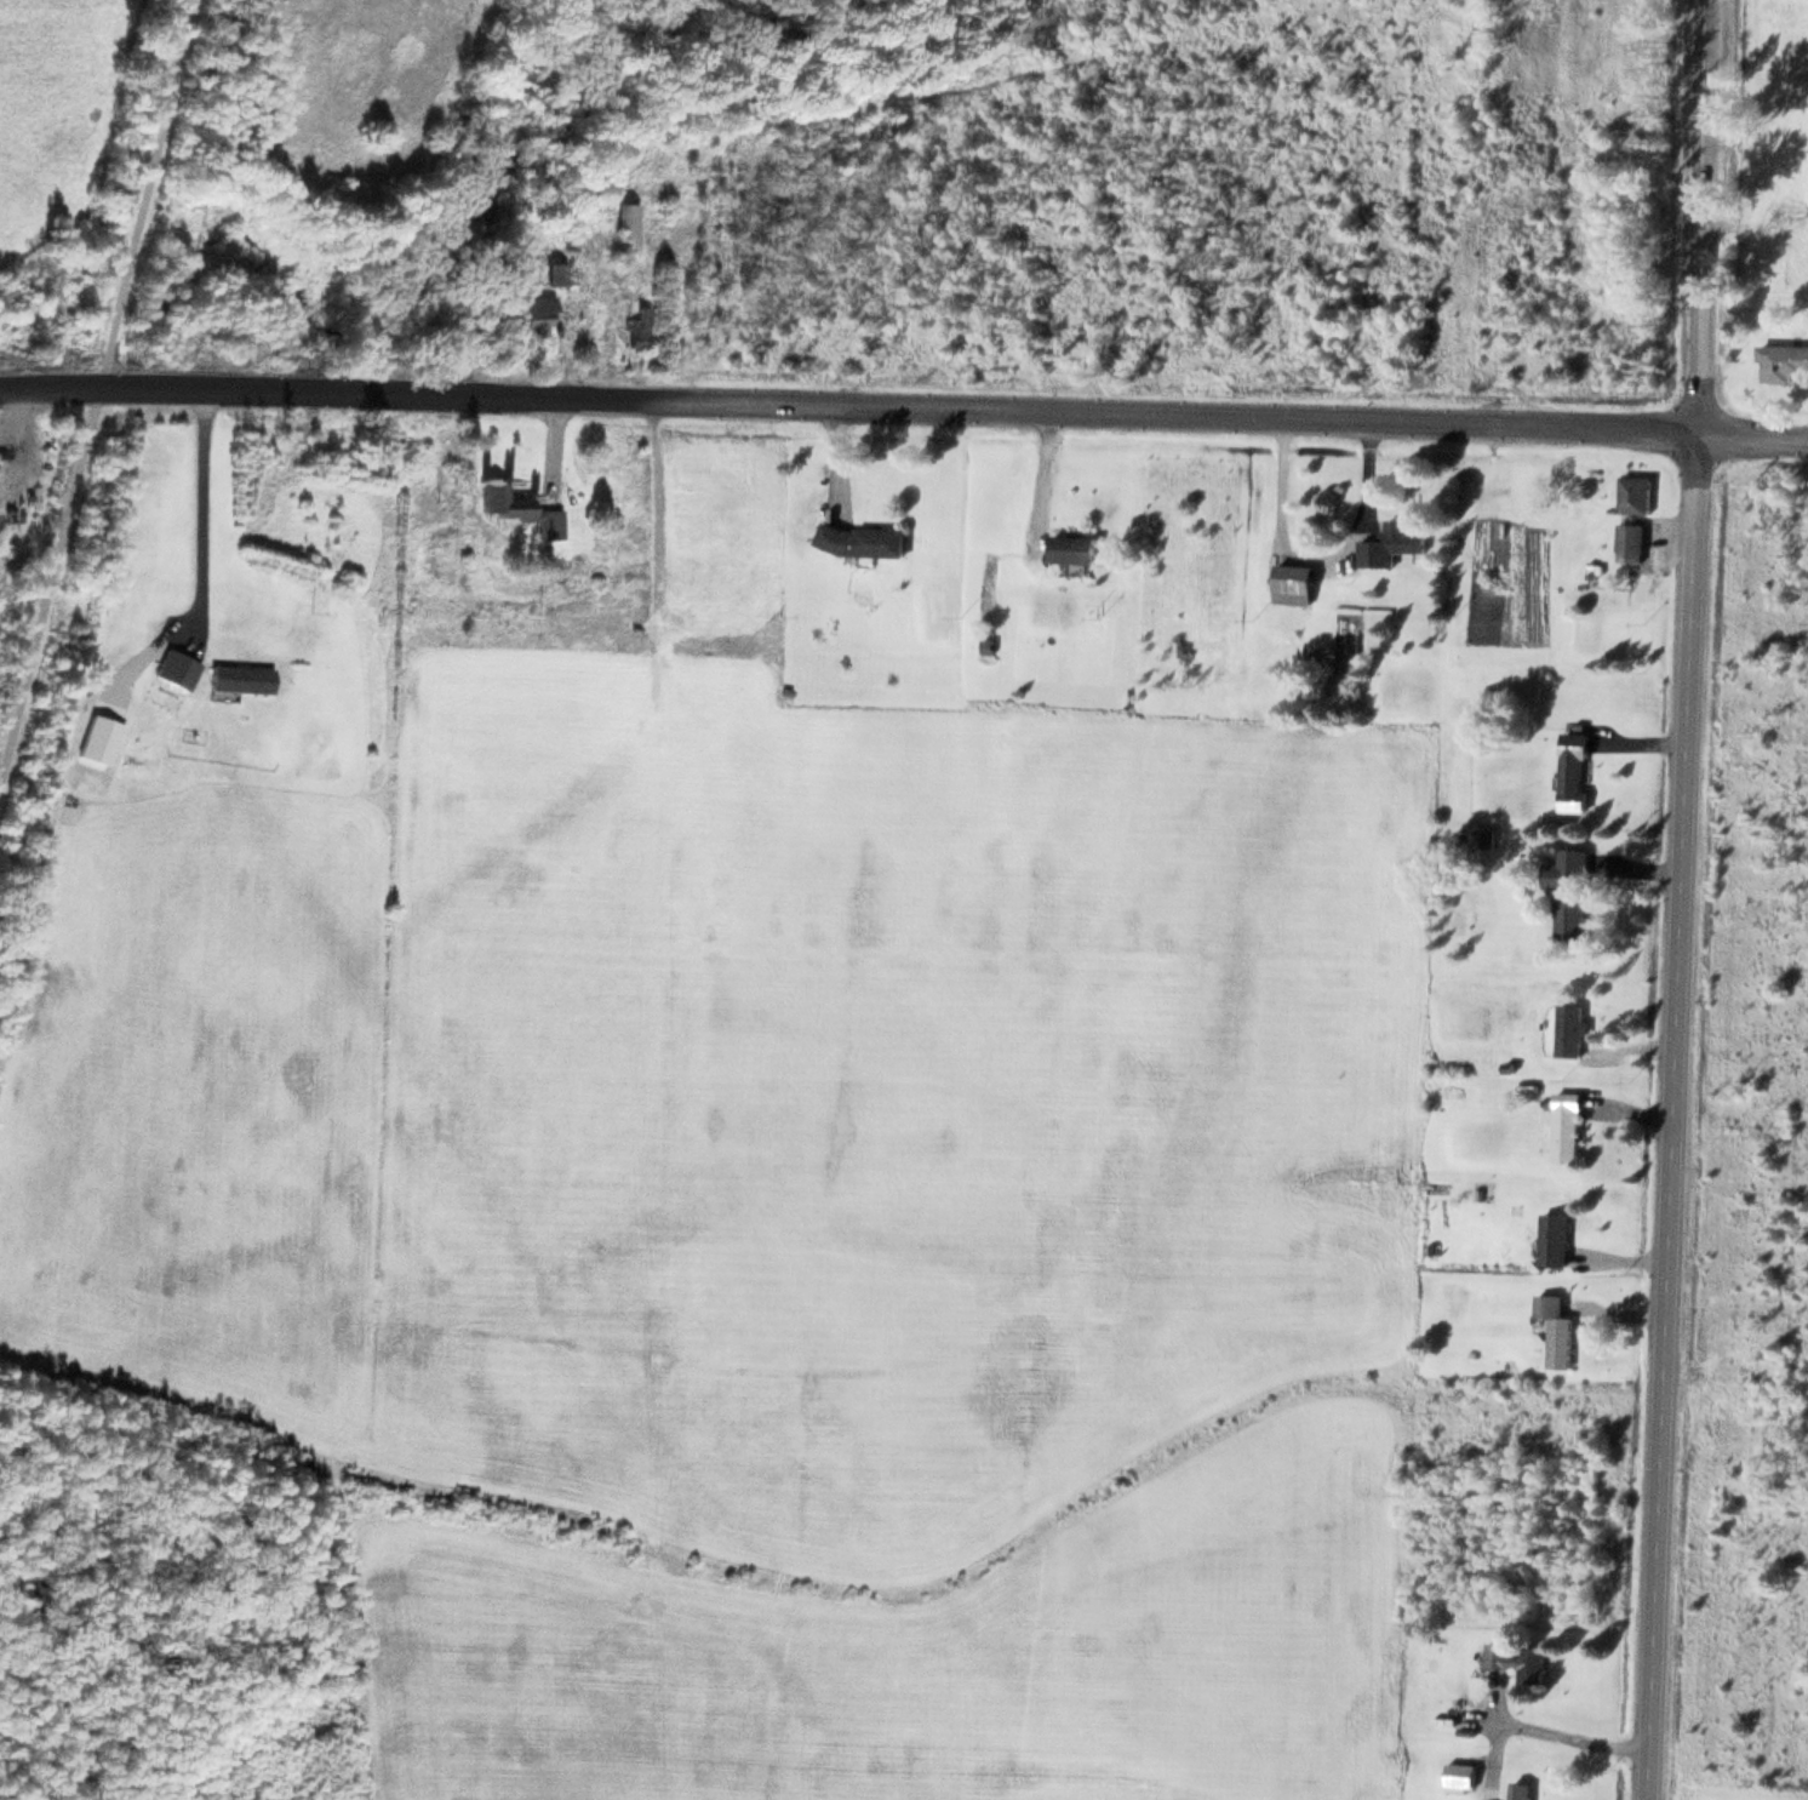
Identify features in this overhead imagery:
building: (623, 217)
building: (556, 272)
building: (532, 313)
building: (634, 326)
building: (1784, 362)
road: (93, 381)
road: (847, 406)
road: (1751, 434)
building: (1634, 492)
building: (516, 508)
building: (859, 539)
building: (1629, 541)
building: (1390, 543)
building: (1072, 547)
building: (1288, 582)
building: (979, 644)
building: (173, 668)
building: (238, 678)
building: (1573, 771)
building: (1568, 890)
road: (1680, 899)
building: (1568, 1029)
building: (1564, 1126)
building: (1551, 1239)
building: (1554, 1328)
building: (1515, 1657)
building: (1458, 1776)
building: (1518, 1789)

